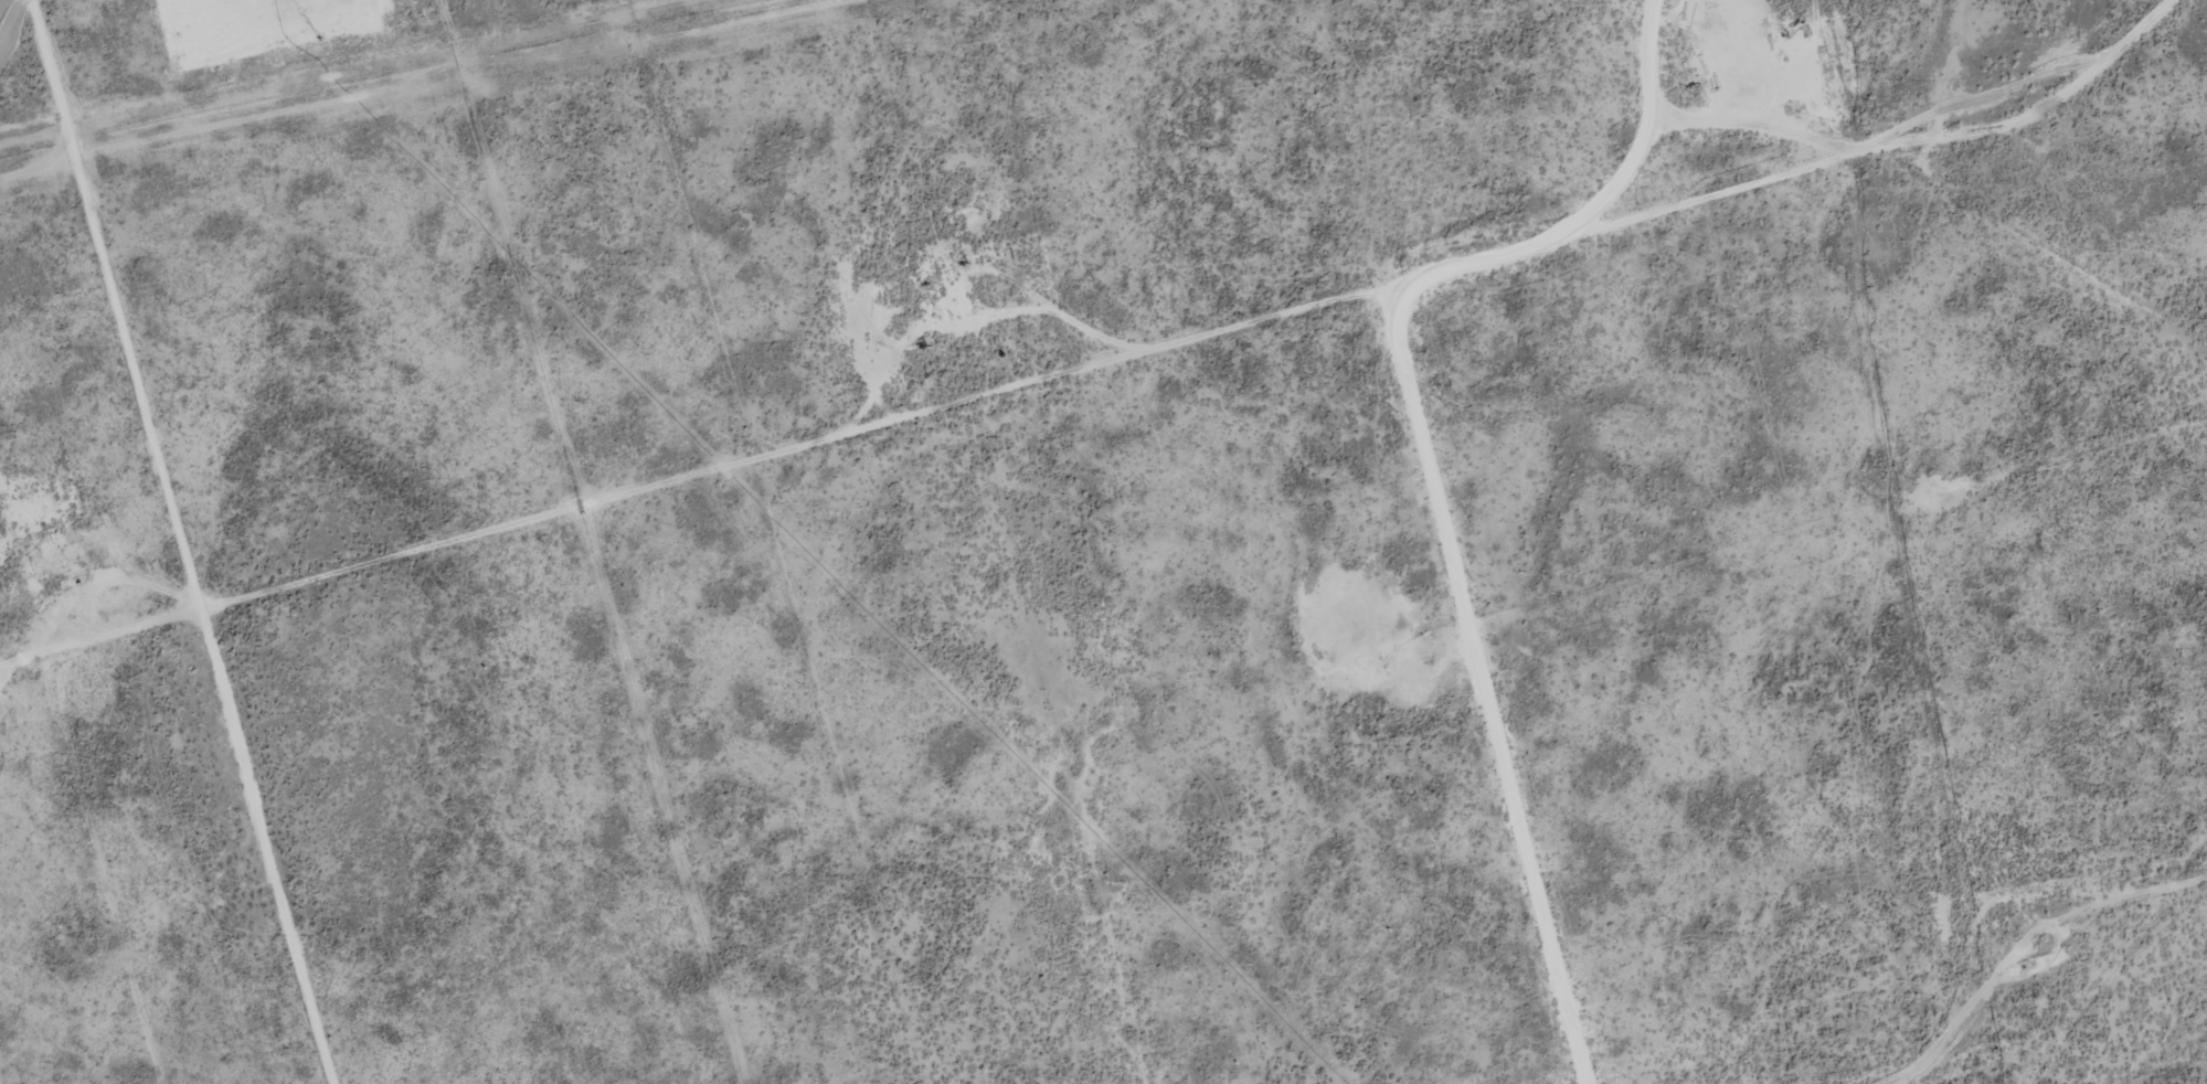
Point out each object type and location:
road: (1104, 414)
road: (234, 538)
road: (1522, 702)

